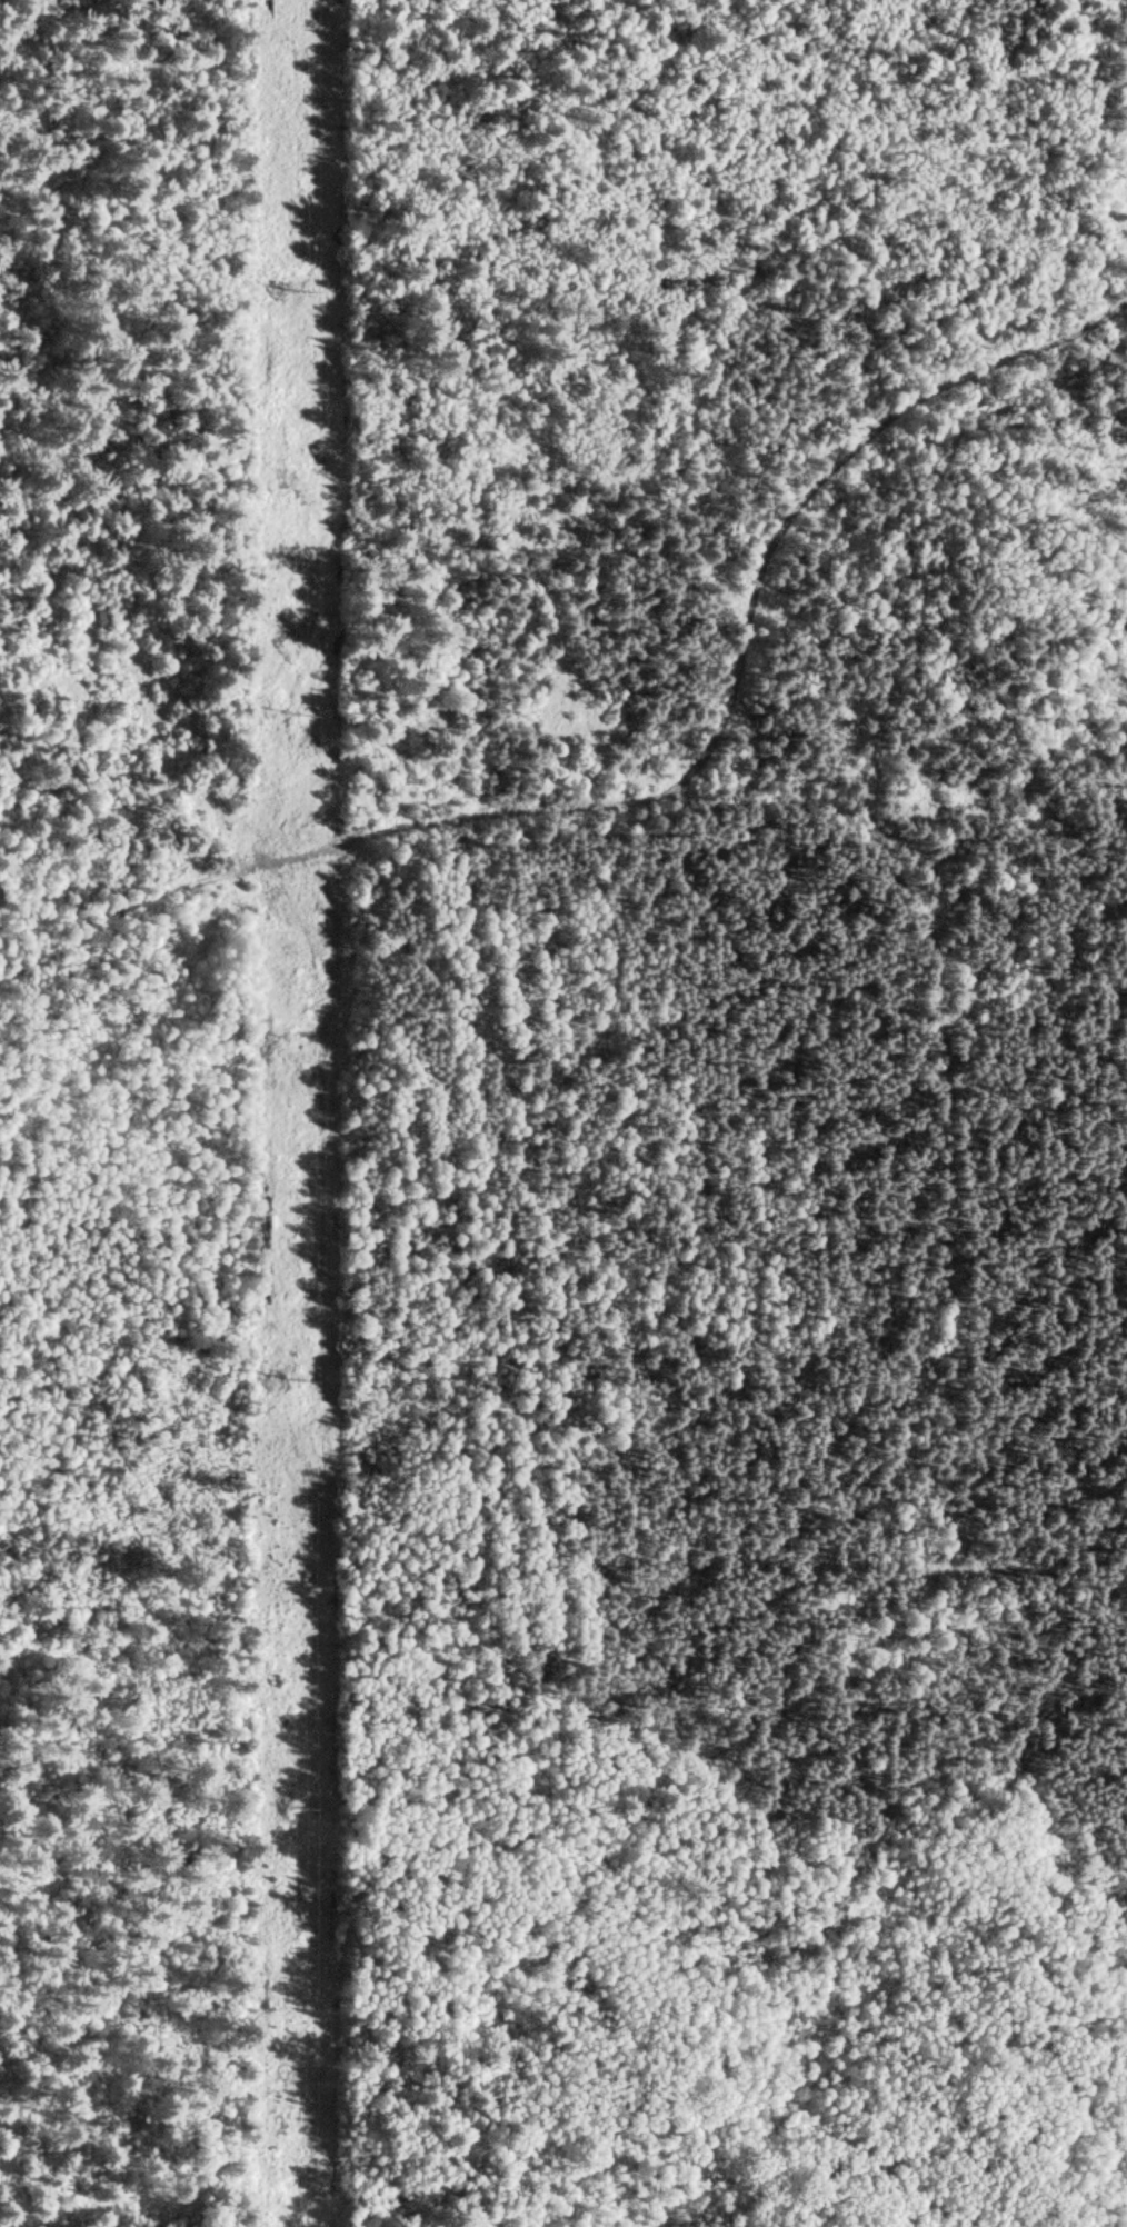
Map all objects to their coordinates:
road: (674, 781)

